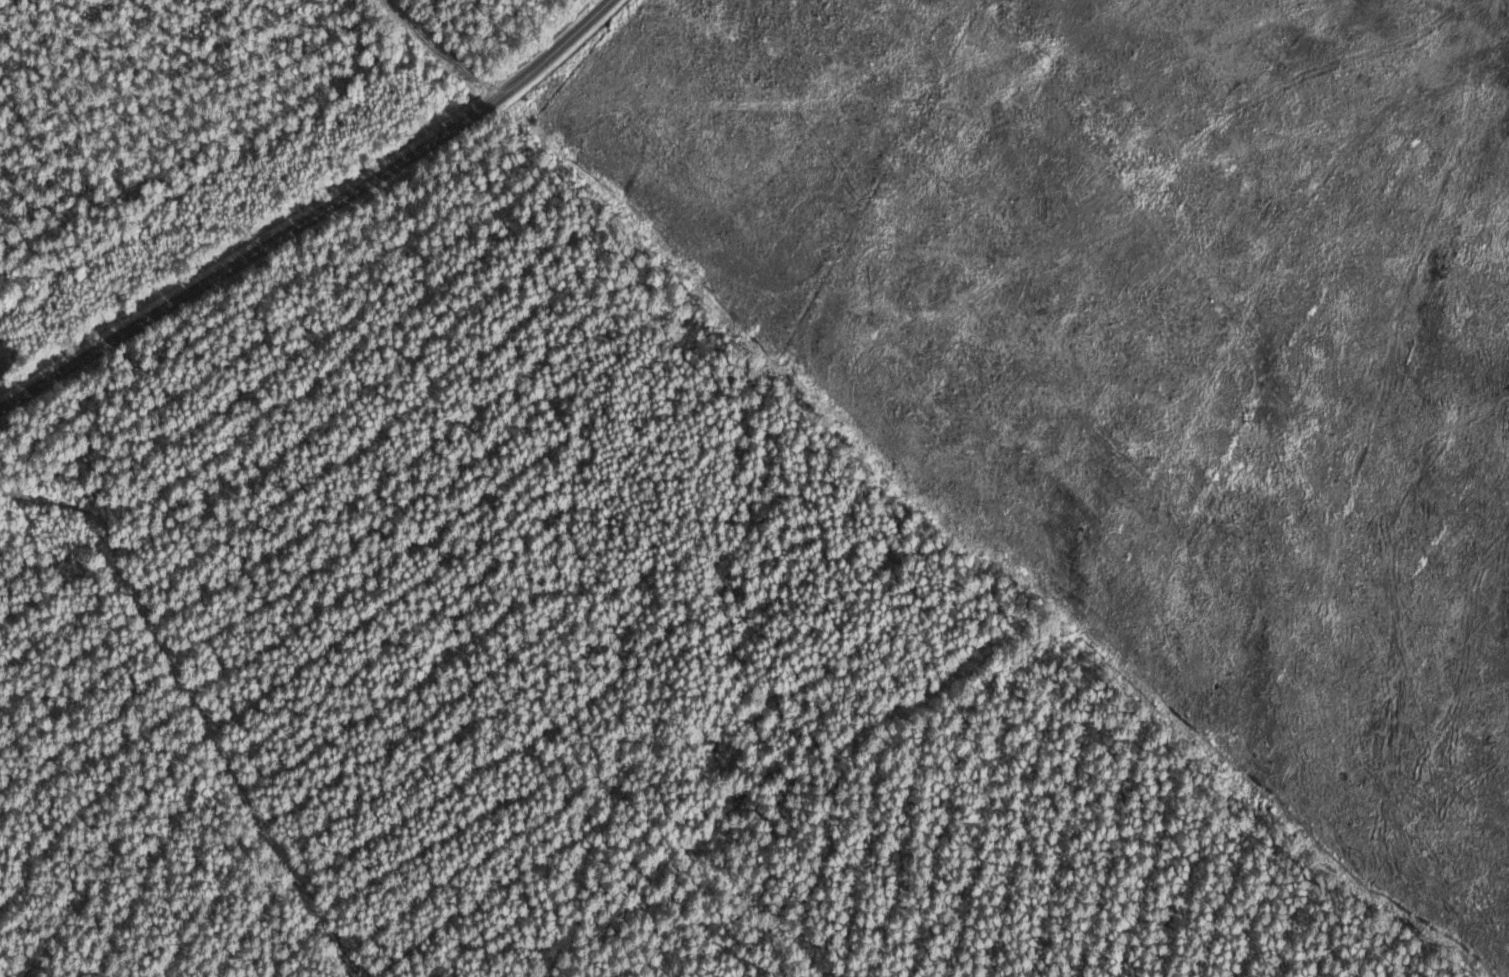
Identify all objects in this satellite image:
road: (312, 218)

